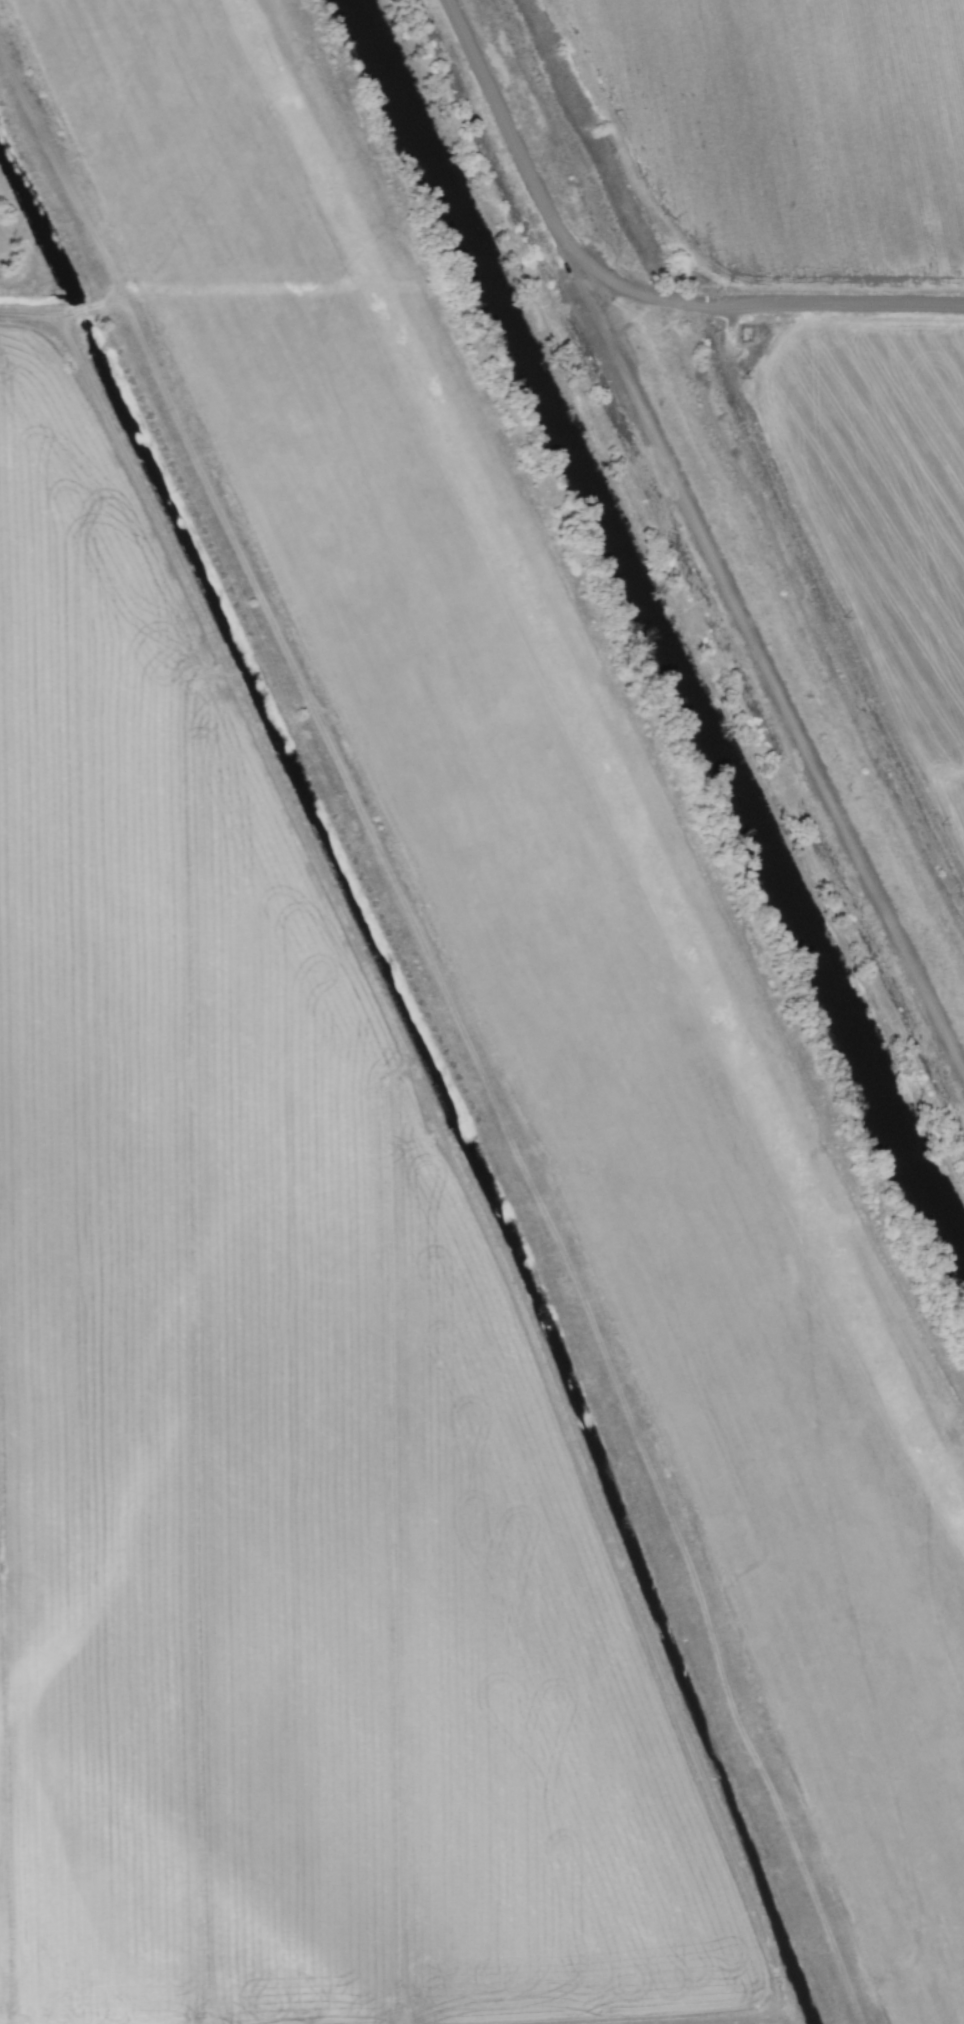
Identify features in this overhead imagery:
crop: (829, 264)
road: (625, 284)
road: (760, 655)
crop: (405, 1173)
road: (723, 2020)

